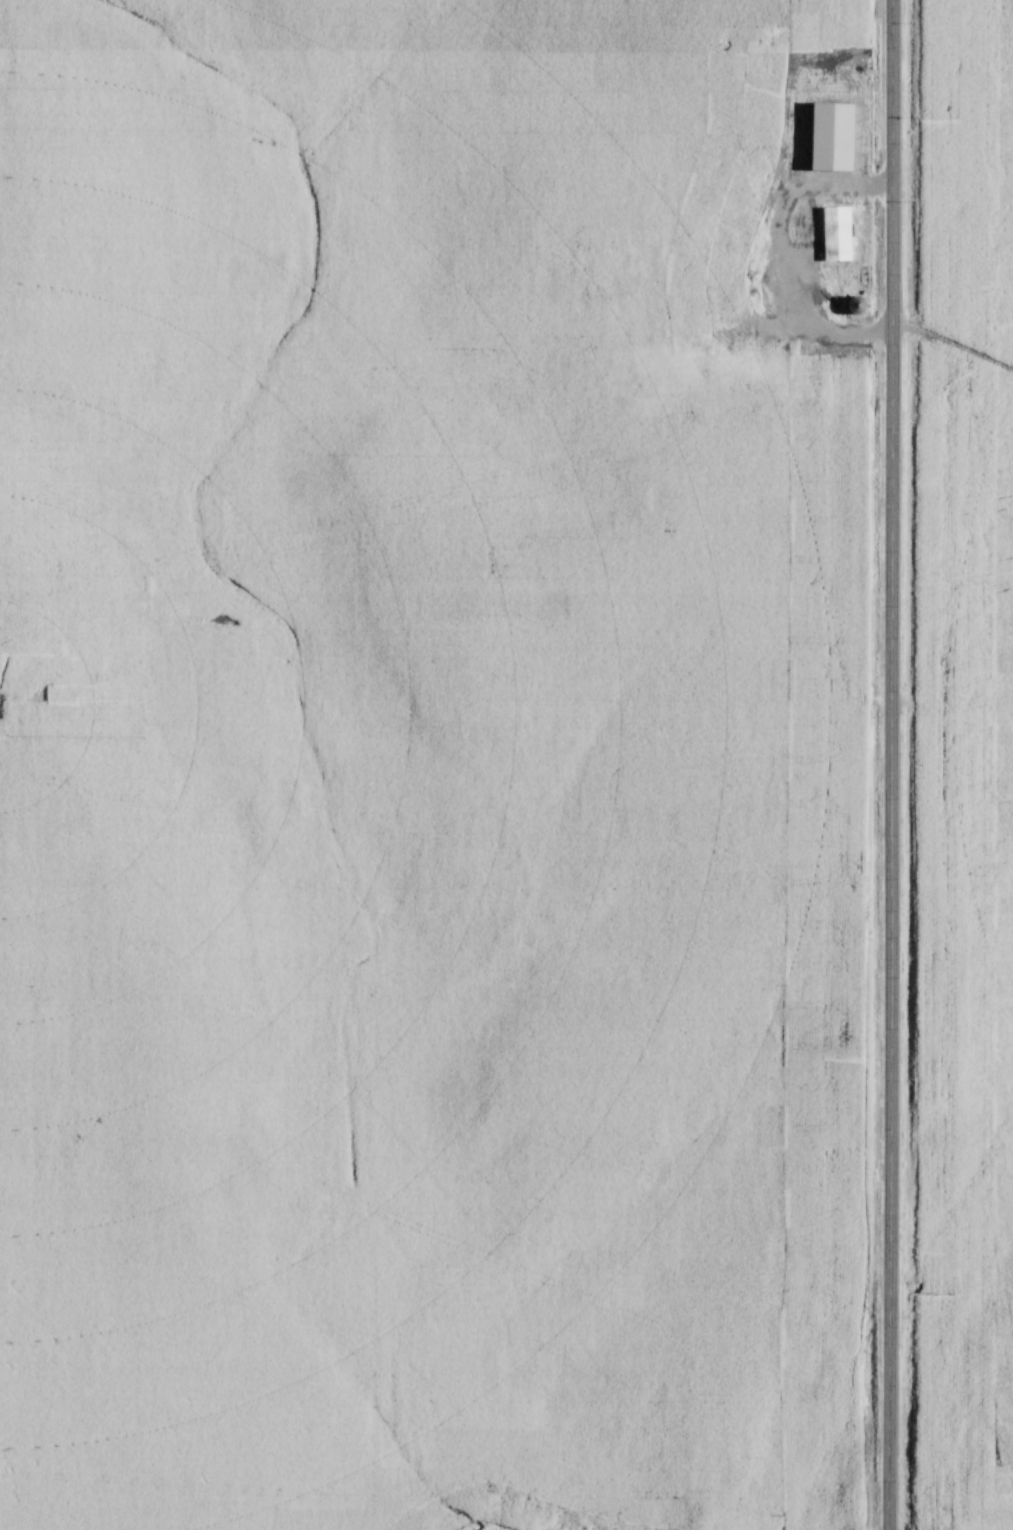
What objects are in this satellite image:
building: (857, 306)
road: (894, 765)

